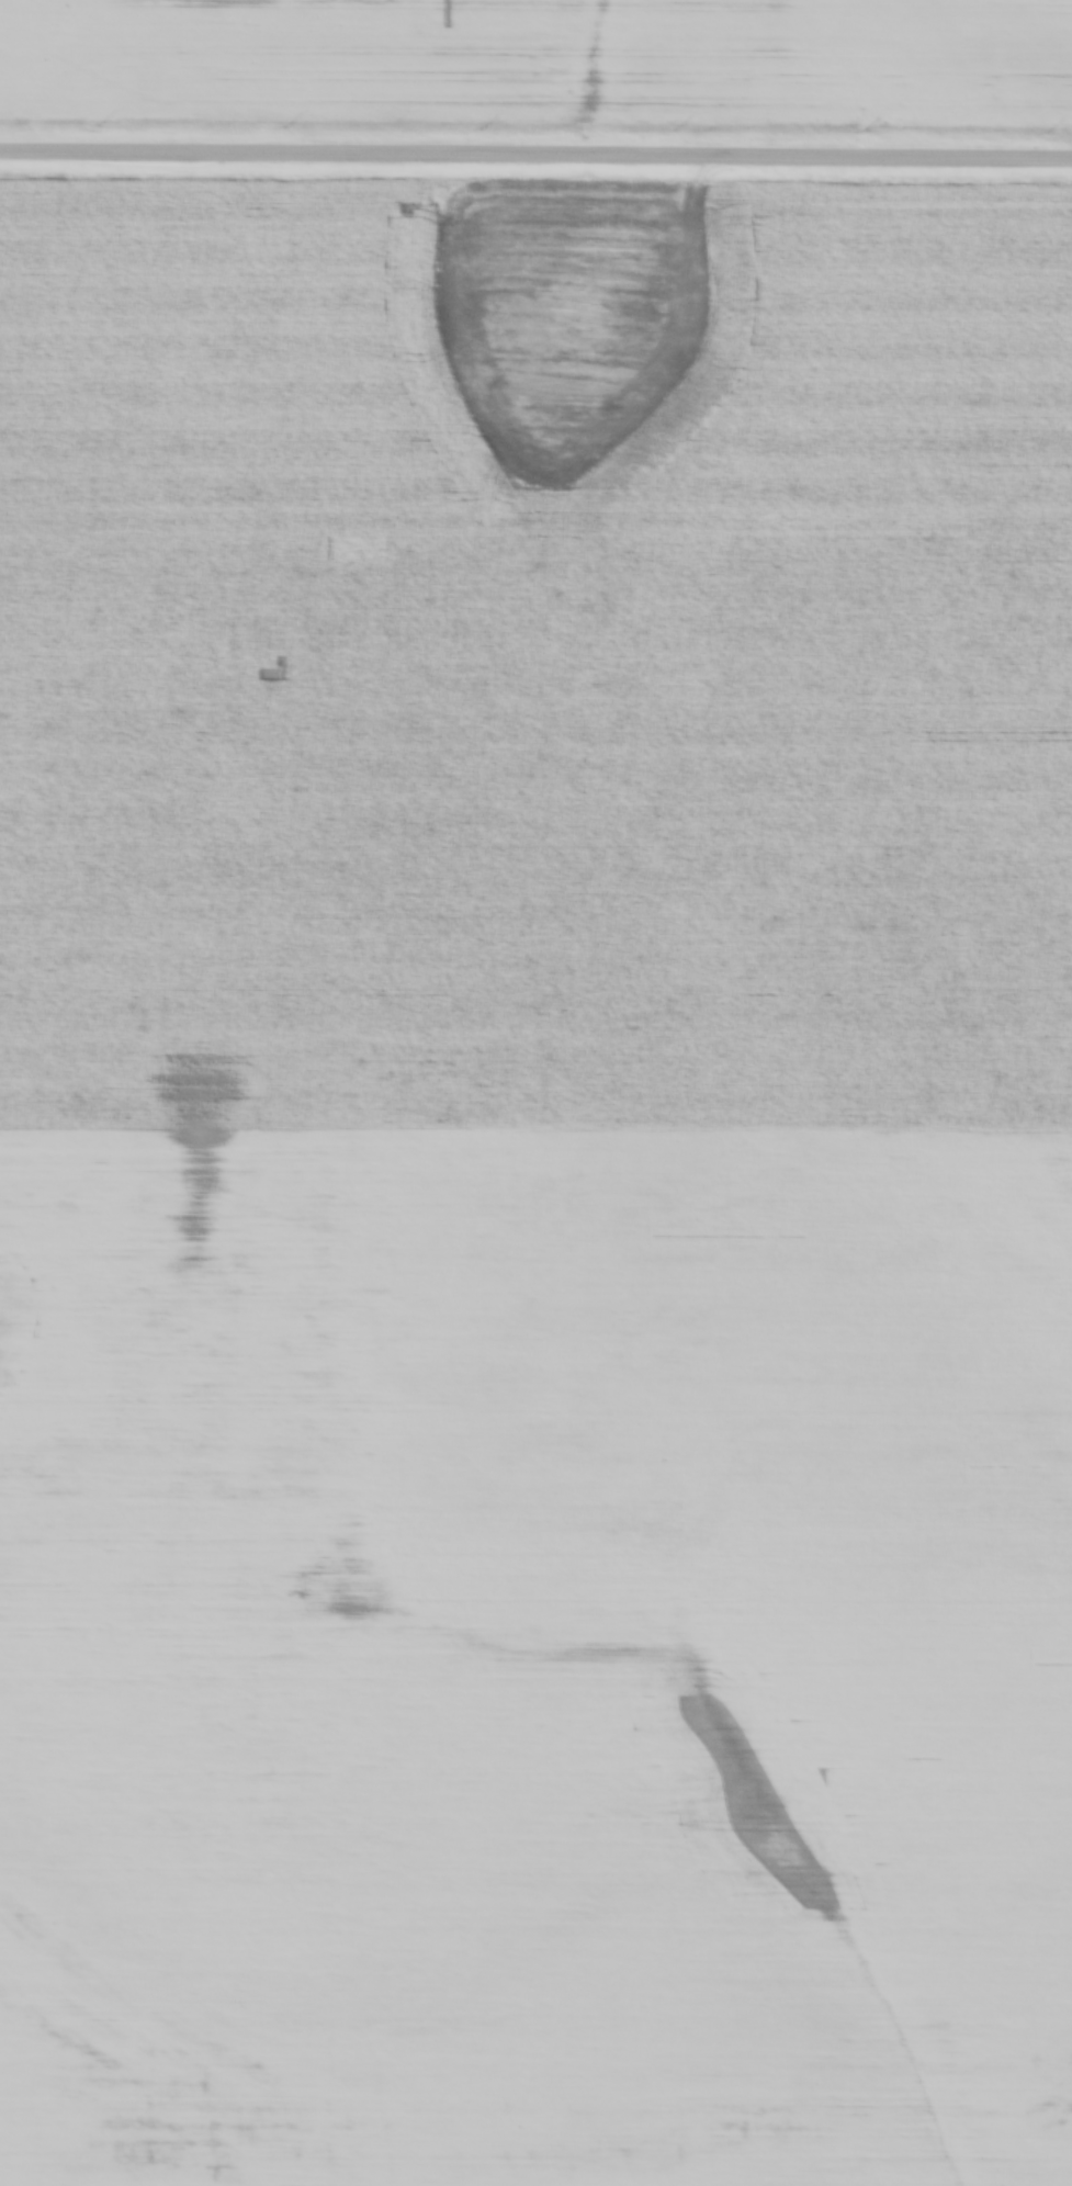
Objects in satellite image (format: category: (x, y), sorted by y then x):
road: (535, 157)

